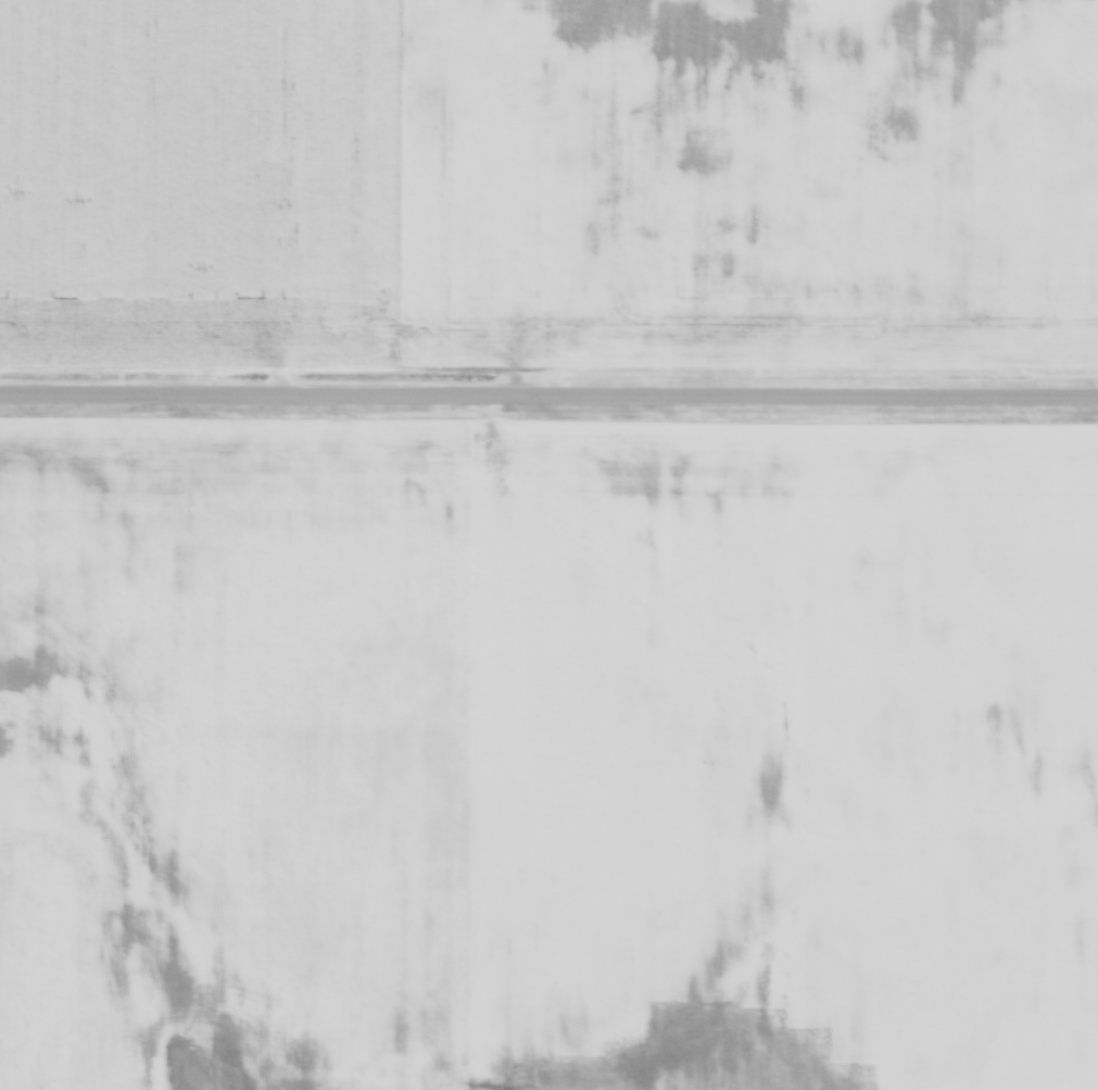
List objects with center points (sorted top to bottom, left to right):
road: (548, 398)

